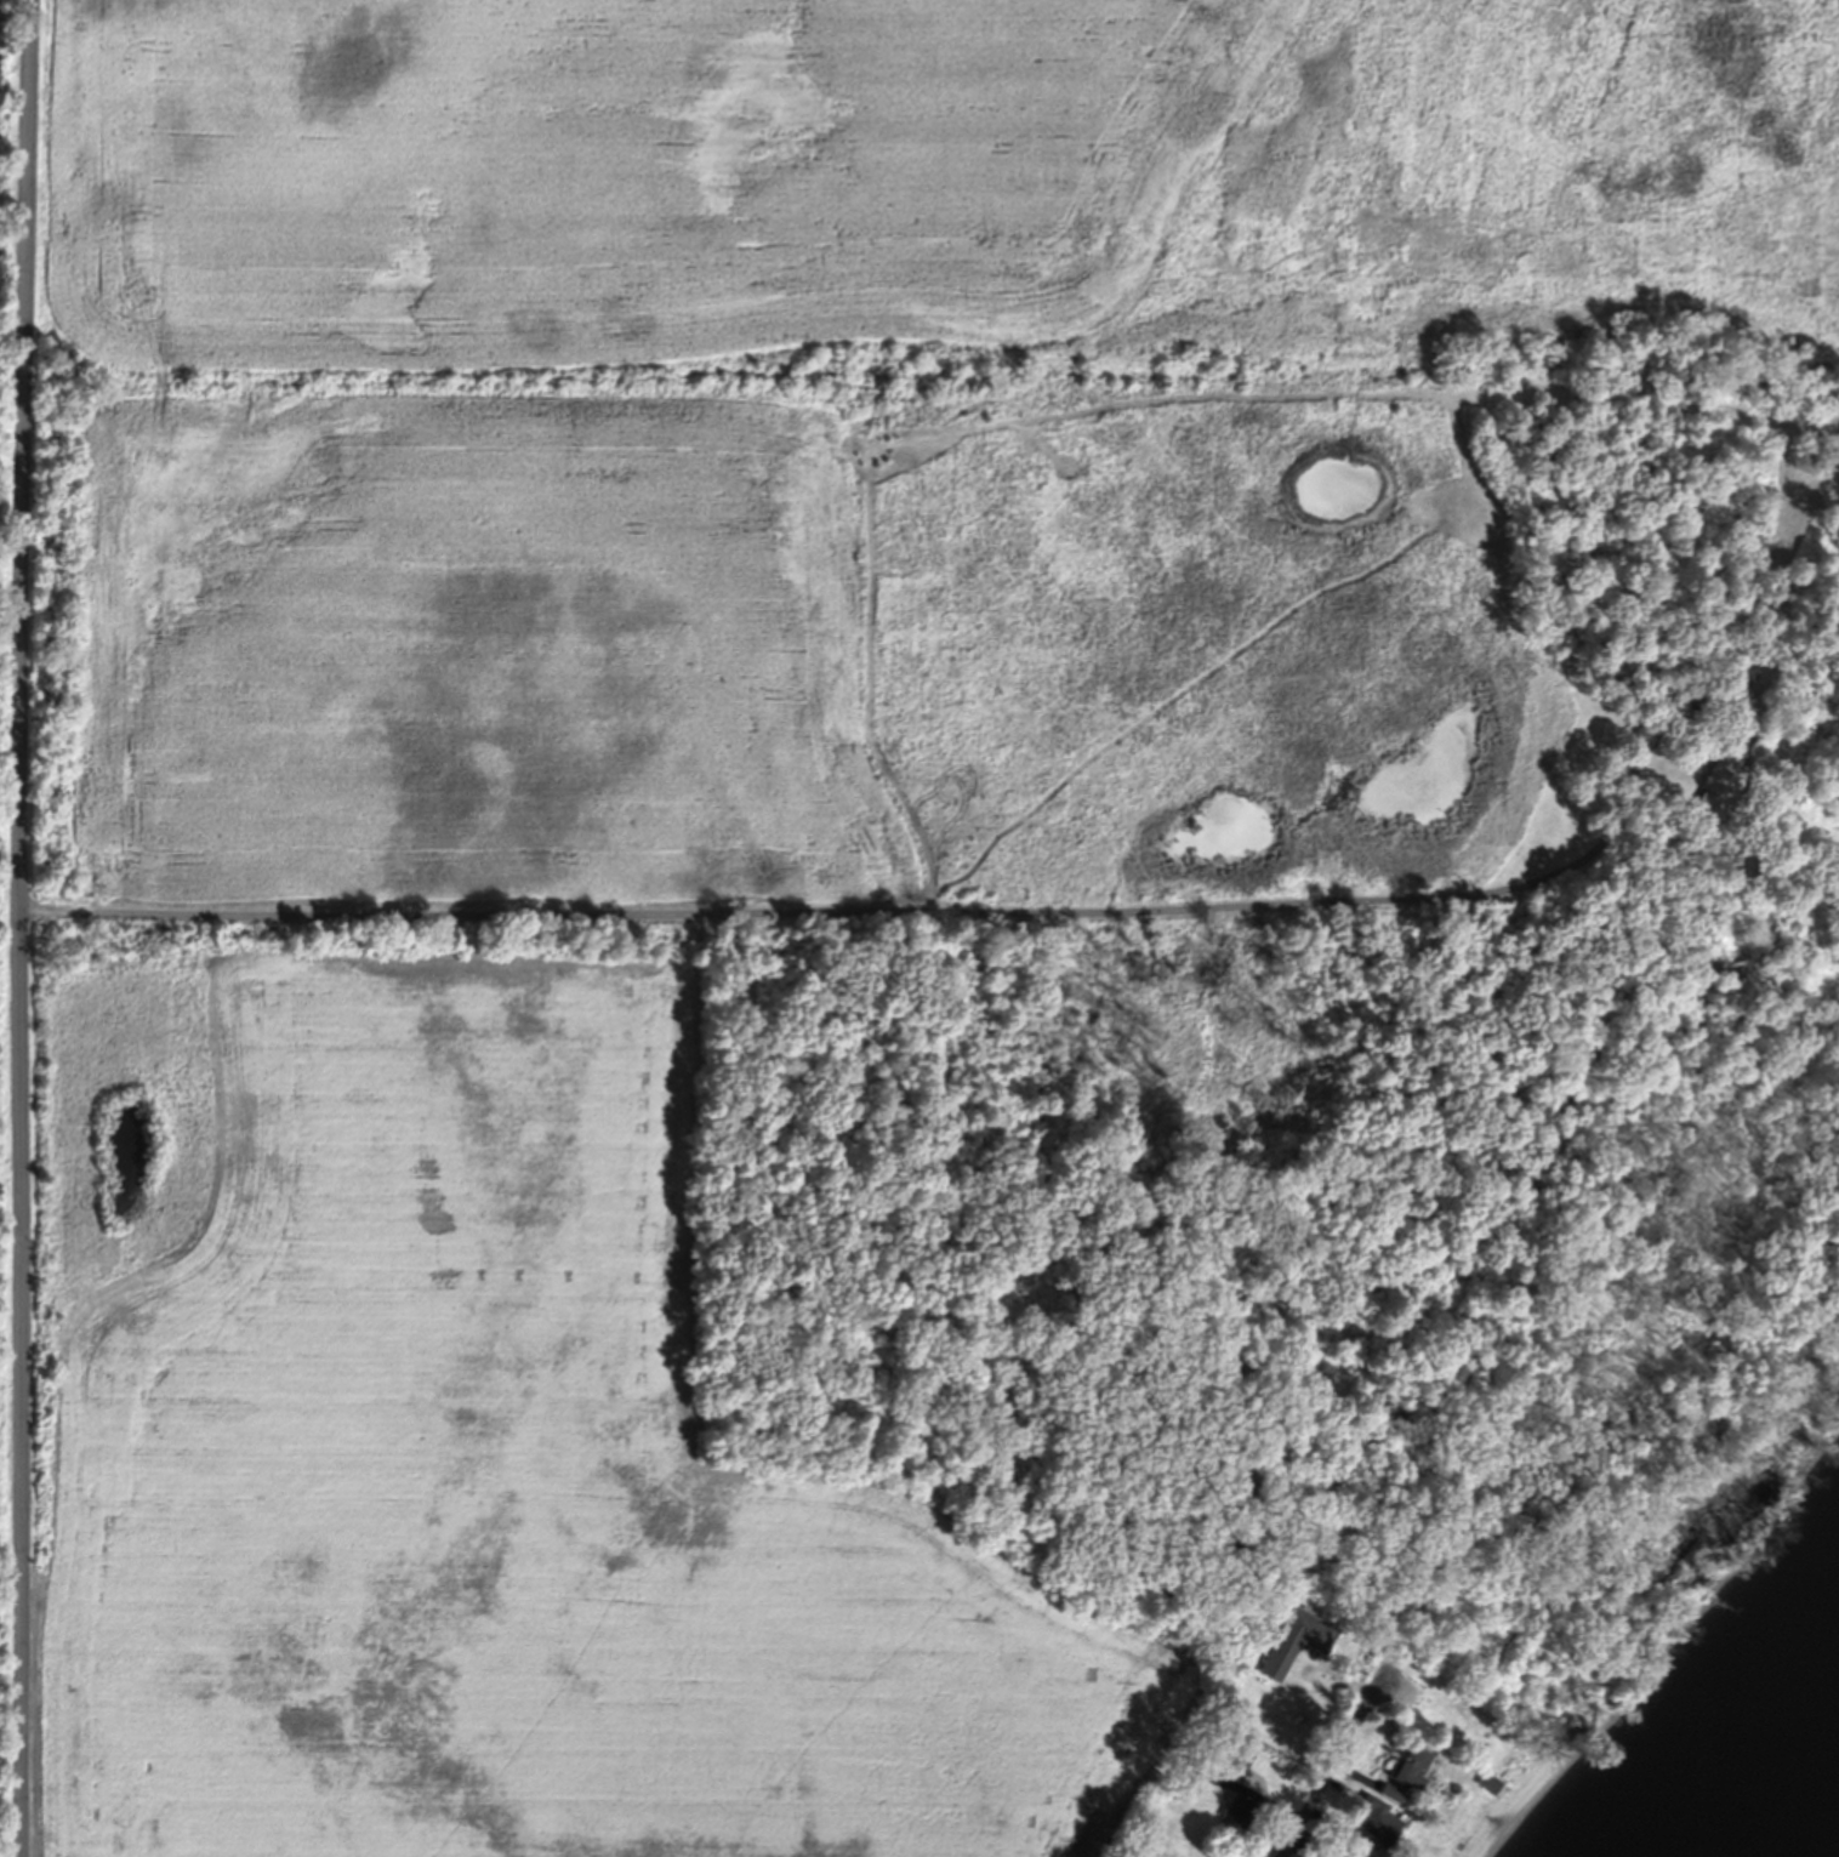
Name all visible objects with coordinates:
building: (1718, 779)
road: (1624, 796)
road: (793, 911)
road: (28, 928)
building: (1304, 1630)
building: (1236, 1756)
road: (1340, 1762)
building: (1401, 1771)
building: (1239, 1808)
building: (1373, 1824)
building: (1348, 1856)

